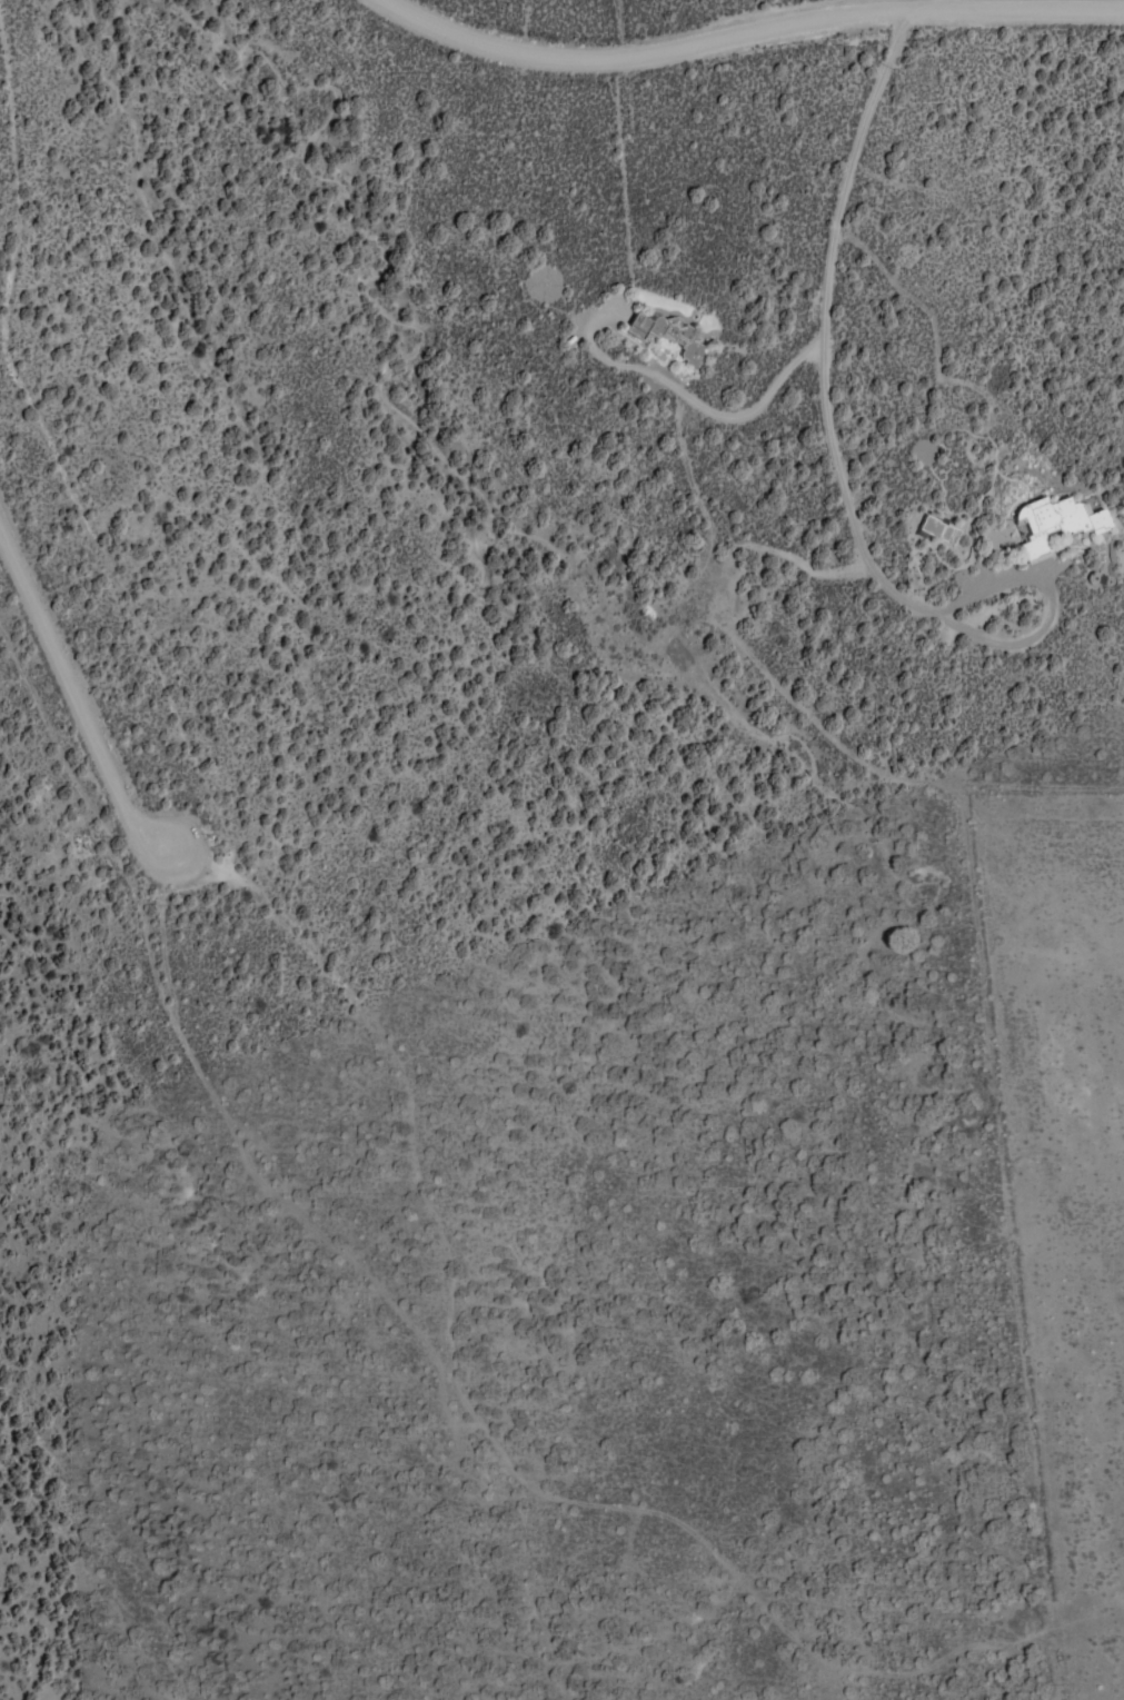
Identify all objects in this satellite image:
road: (746, 29)
building: (1100, 519)
building: (1050, 521)
building: (939, 528)
road: (76, 695)

